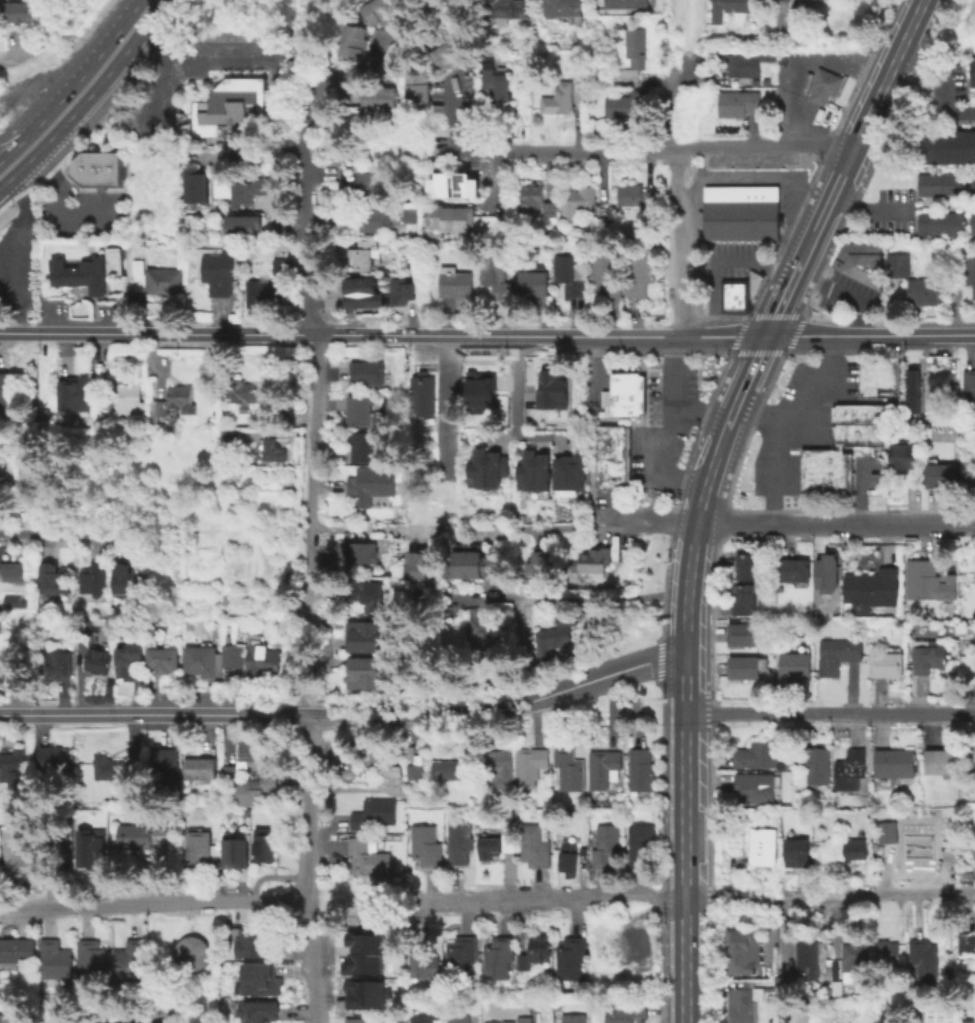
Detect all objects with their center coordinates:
building: (625, 3)
building: (801, 3)
road: (677, 4)
building: (510, 7)
building: (565, 8)
building: (386, 9)
building: (729, 9)
building: (15, 11)
building: (371, 13)
building: (781, 15)
building: (353, 33)
building: (800, 36)
road: (669, 43)
building: (763, 45)
building: (350, 49)
building: (451, 53)
road: (11, 55)
building: (769, 55)
building: (632, 57)
road: (193, 58)
road: (104, 59)
building: (743, 65)
building: (971, 69)
road: (356, 71)
building: (499, 79)
building: (822, 85)
road: (943, 85)
building: (419, 90)
road: (157, 93)
building: (370, 97)
building: (387, 97)
building: (560, 99)
building: (627, 103)
building: (737, 103)
building: (228, 107)
building: (521, 112)
road: (666, 115)
road: (28, 125)
road: (862, 130)
road: (29, 144)
building: (945, 146)
road: (647, 152)
road: (262, 153)
building: (96, 168)
building: (469, 179)
building: (443, 180)
road: (493, 180)
road: (789, 180)
building: (197, 181)
building: (939, 183)
building: (972, 183)
building: (361, 186)
building: (243, 188)
building: (637, 196)
building: (538, 200)
road: (61, 201)
building: (579, 201)
road: (308, 210)
building: (740, 211)
building: (410, 215)
building: (378, 218)
building: (462, 218)
building: (243, 221)
building: (939, 222)
building: (971, 222)
building: (605, 226)
road: (14, 241)
road: (681, 242)
building: (364, 255)
building: (116, 259)
building: (858, 261)
road: (719, 262)
building: (899, 264)
building: (282, 265)
building: (217, 269)
building: (969, 272)
building: (82, 273)
building: (607, 273)
building: (641, 273)
building: (570, 274)
building: (498, 276)
building: (158, 278)
building: (458, 281)
building: (534, 282)
building: (363, 289)
building: (402, 289)
building: (923, 290)
building: (263, 292)
road: (843, 293)
building: (733, 295)
road: (783, 297)
road: (156, 333)
road: (871, 333)
road: (496, 334)
traffic signals: (768, 334)
road: (723, 335)
building: (366, 372)
building: (878, 377)
building: (941, 383)
building: (969, 384)
building: (482, 387)
building: (915, 388)
building: (554, 389)
building: (239, 390)
building: (3, 391)
building: (73, 392)
building: (423, 394)
building: (622, 394)
road: (741, 395)
building: (132, 397)
building: (173, 399)
road: (515, 407)
building: (359, 410)
road: (758, 412)
building: (858, 412)
road: (702, 413)
road: (779, 421)
road: (662, 433)
road: (804, 433)
building: (852, 433)
building: (231, 434)
building: (611, 435)
building: (29, 438)
building: (364, 446)
road: (835, 446)
building: (974, 446)
road: (851, 448)
building: (273, 450)
building: (902, 455)
building: (611, 456)
building: (823, 456)
building: (488, 466)
building: (534, 469)
building: (570, 469)
building: (824, 471)
building: (940, 474)
road: (311, 477)
building: (611, 477)
building: (26, 478)
building: (968, 479)
building: (373, 483)
building: (824, 486)
road: (858, 491)
road: (613, 526)
road: (811, 526)
road: (950, 527)
road: (372, 530)
road: (60, 535)
building: (1, 548)
building: (358, 550)
road: (690, 557)
building: (593, 559)
building: (475, 562)
building: (419, 563)
building: (540, 563)
building: (750, 566)
building: (795, 568)
building: (9, 571)
building: (824, 573)
building: (121, 577)
building: (93, 578)
building: (49, 579)
building: (926, 580)
building: (872, 586)
building: (366, 592)
road: (579, 596)
building: (745, 598)
building: (13, 600)
building: (483, 630)
building: (364, 634)
building: (744, 634)
building: (557, 635)
road: (302, 649)
building: (837, 653)
building: (233, 654)
building: (261, 657)
building: (926, 657)
building: (163, 658)
building: (125, 659)
building: (96, 660)
building: (202, 660)
building: (795, 663)
building: (885, 663)
building: (55, 664)
building: (744, 666)
road: (323, 669)
building: (10, 670)
building: (363, 671)
road: (301, 697)
road: (346, 714)
road: (830, 714)
building: (756, 754)
building: (246, 755)
building: (50, 757)
building: (11, 761)
building: (894, 761)
building: (941, 761)
building: (386, 762)
building: (815, 763)
building: (530, 764)
building: (165, 766)
building: (603, 766)
building: (114, 767)
building: (200, 767)
building: (449, 768)
building: (569, 768)
building: (641, 768)
building: (849, 768)
building: (505, 770)
building: (390, 771)
building: (415, 771)
building: (254, 788)
building: (753, 788)
road: (307, 808)
building: (914, 810)
building: (374, 812)
building: (509, 814)
building: (886, 832)
building: (141, 833)
building: (459, 839)
building: (507, 841)
road: (686, 841)
building: (263, 843)
building: (640, 843)
building: (607, 844)
building: (425, 845)
building: (534, 845)
building: (762, 845)
building: (917, 845)
building: (88, 846)
building: (489, 846)
building: (199, 847)
building: (854, 848)
building: (233, 852)
building: (794, 852)
building: (27, 853)
building: (367, 856)
building: (568, 856)
building: (974, 859)
road: (153, 903)
road: (696, 903)
building: (254, 942)
building: (365, 942)
building: (967, 943)
building: (636, 946)
building: (886, 950)
building: (533, 951)
building: (742, 951)
building: (10, 953)
building: (190, 953)
building: (811, 954)
building: (855, 955)
building: (461, 956)
building: (498, 956)
building: (924, 957)
building: (54, 958)
building: (570, 958)
building: (129, 959)
building: (92, 961)
road: (313, 962)
building: (425, 962)
building: (362, 964)
building: (258, 980)
building: (781, 983)
building: (363, 994)
building: (739, 1005)
building: (256, 1010)
building: (627, 1011)
building: (422, 1018)
building: (458, 1018)
building: (574, 1018)
building: (526, 1019)
building: (7, 1020)
building: (360, 1020)
building: (968, 1020)
building: (502, 1021)

